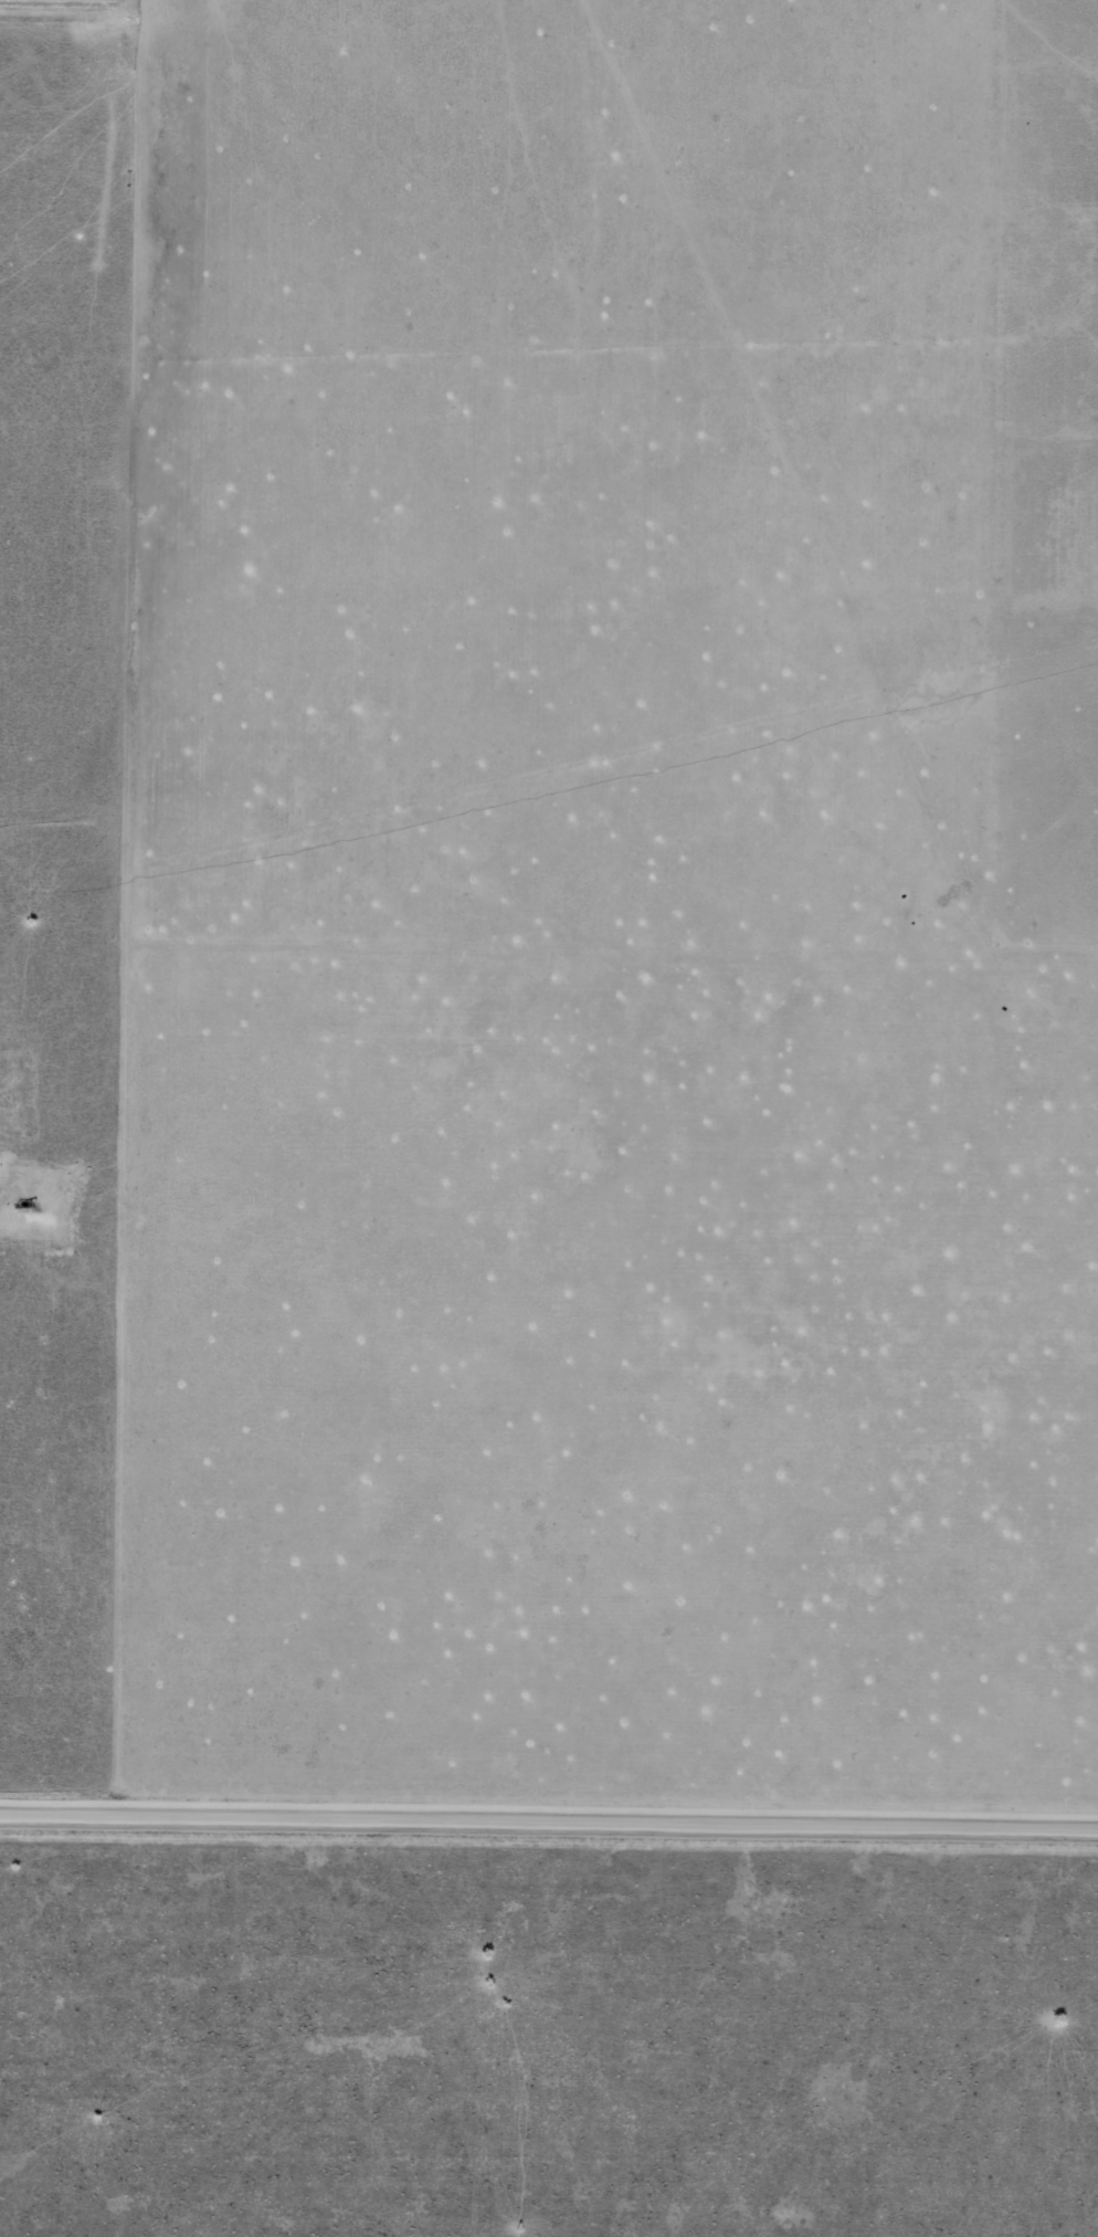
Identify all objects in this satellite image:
road: (91, 29)
petroleum well: (17, 1214)
road: (549, 1823)

